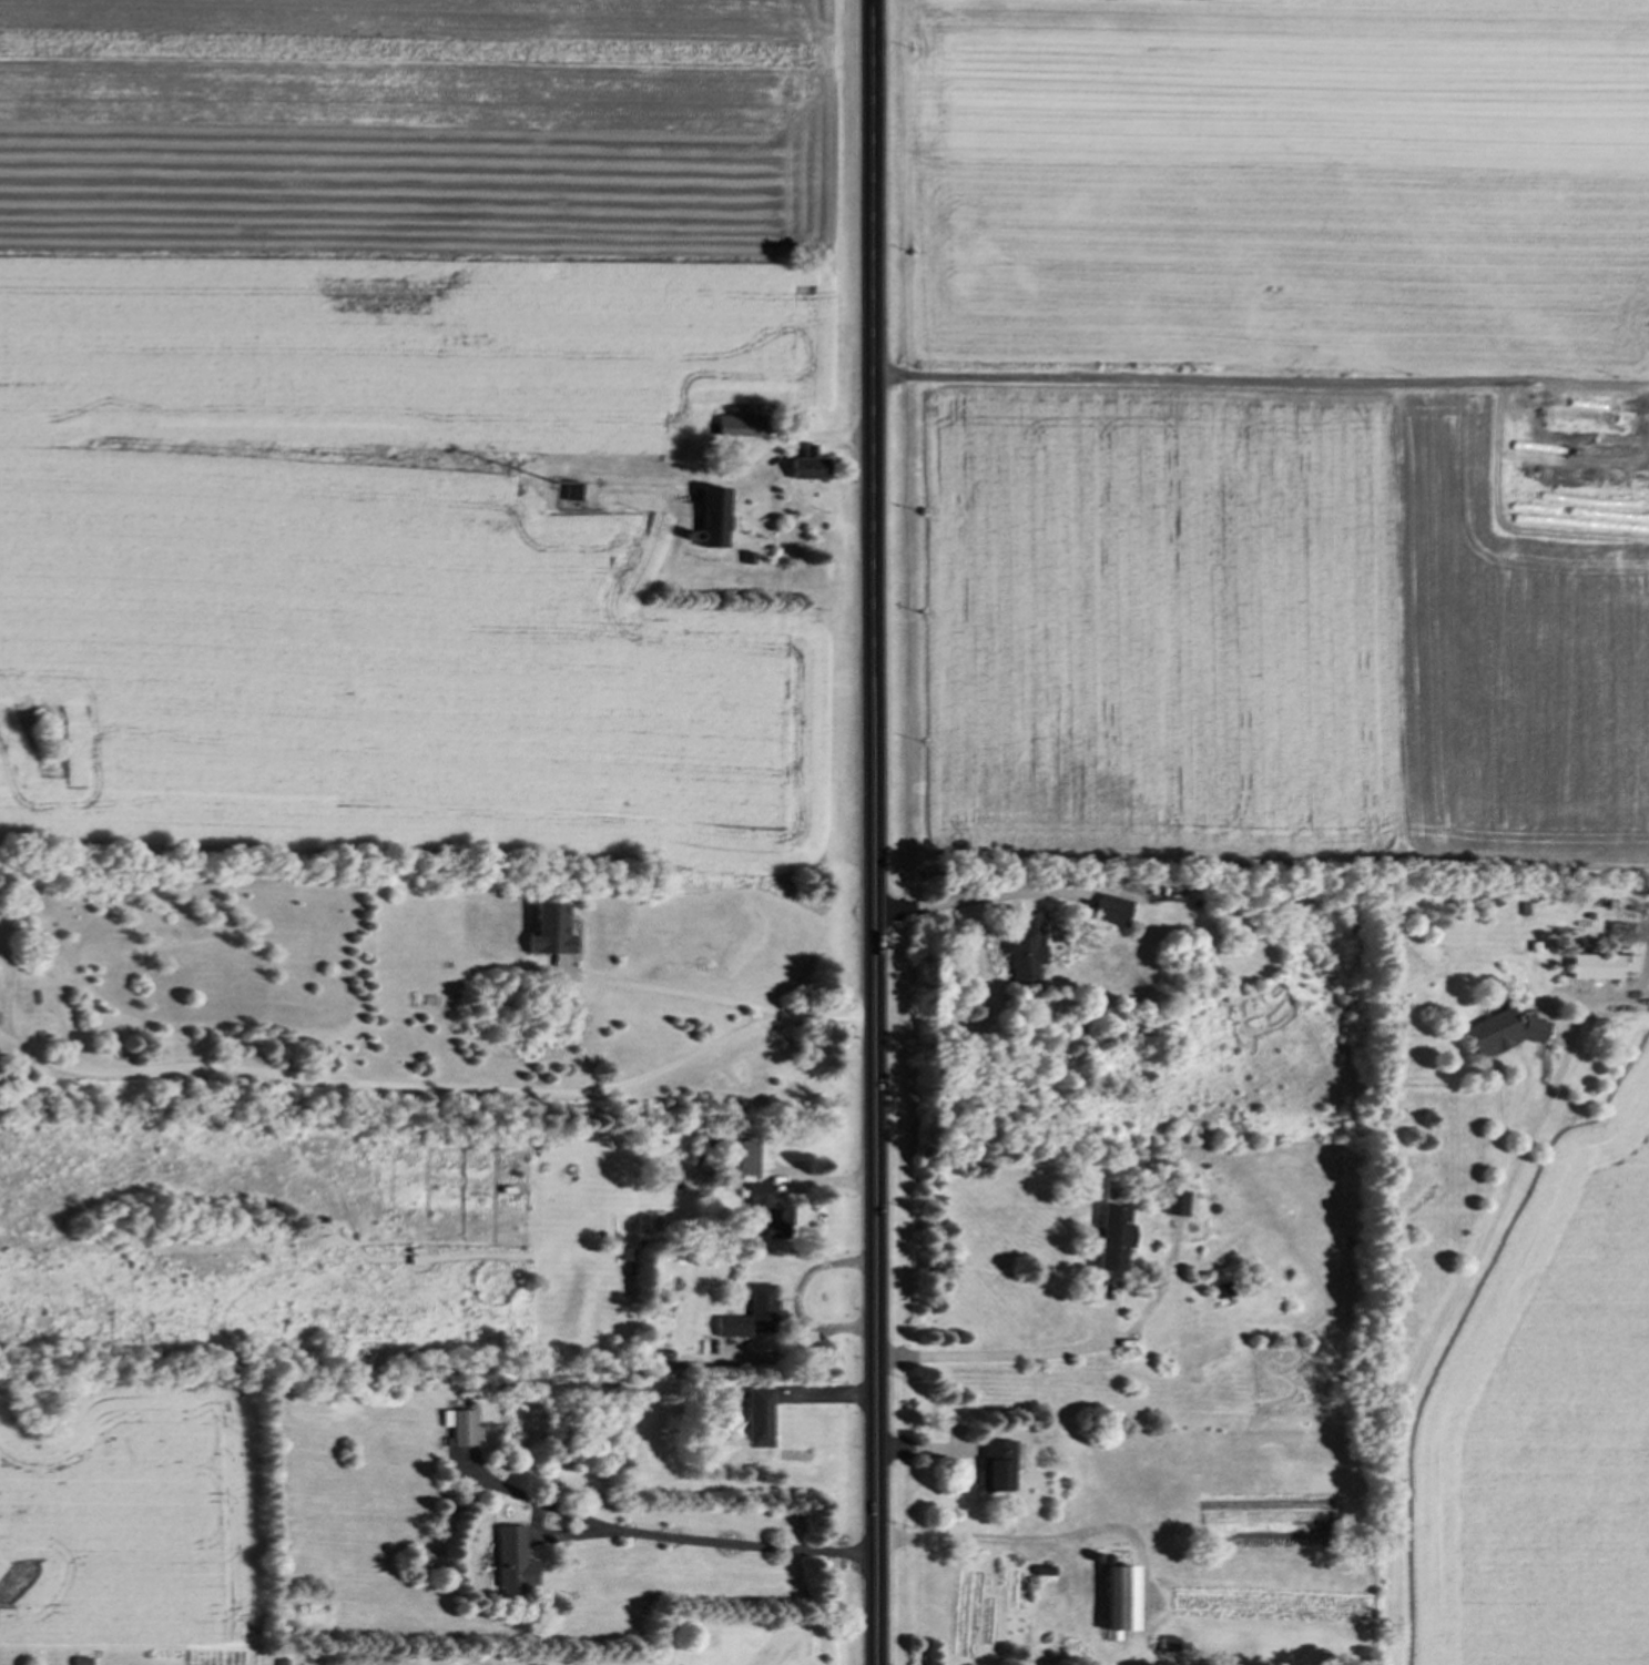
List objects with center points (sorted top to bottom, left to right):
building: (735, 429)
building: (803, 471)
building: (570, 494)
building: (708, 519)
road: (873, 832)
road: (953, 897)
building: (1107, 913)
building: (544, 932)
building: (1024, 953)
building: (1596, 968)
road: (681, 994)
building: (1486, 1034)
road: (438, 1088)
building: (739, 1159)
building: (1173, 1206)
building: (759, 1211)
building: (1108, 1240)
road: (796, 1301)
building: (750, 1318)
road: (1008, 1353)
road: (1426, 1358)
building: (754, 1421)
building: (462, 1431)
building: (990, 1469)
road: (737, 1543)
building: (509, 1564)
building: (1113, 1602)

